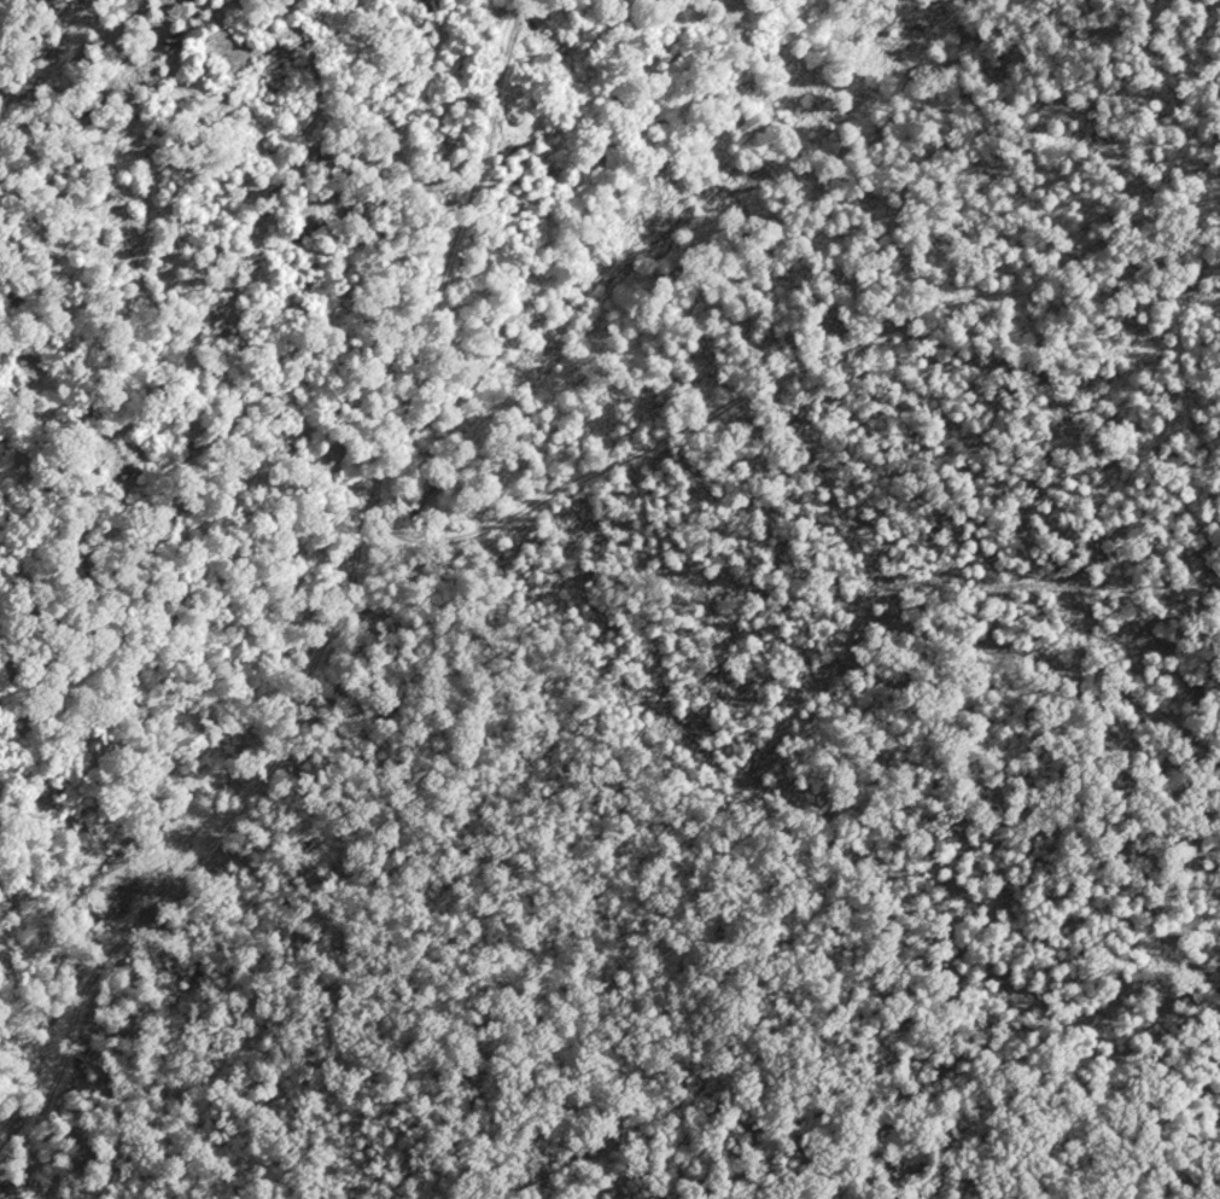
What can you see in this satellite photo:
road: (572, 496)

